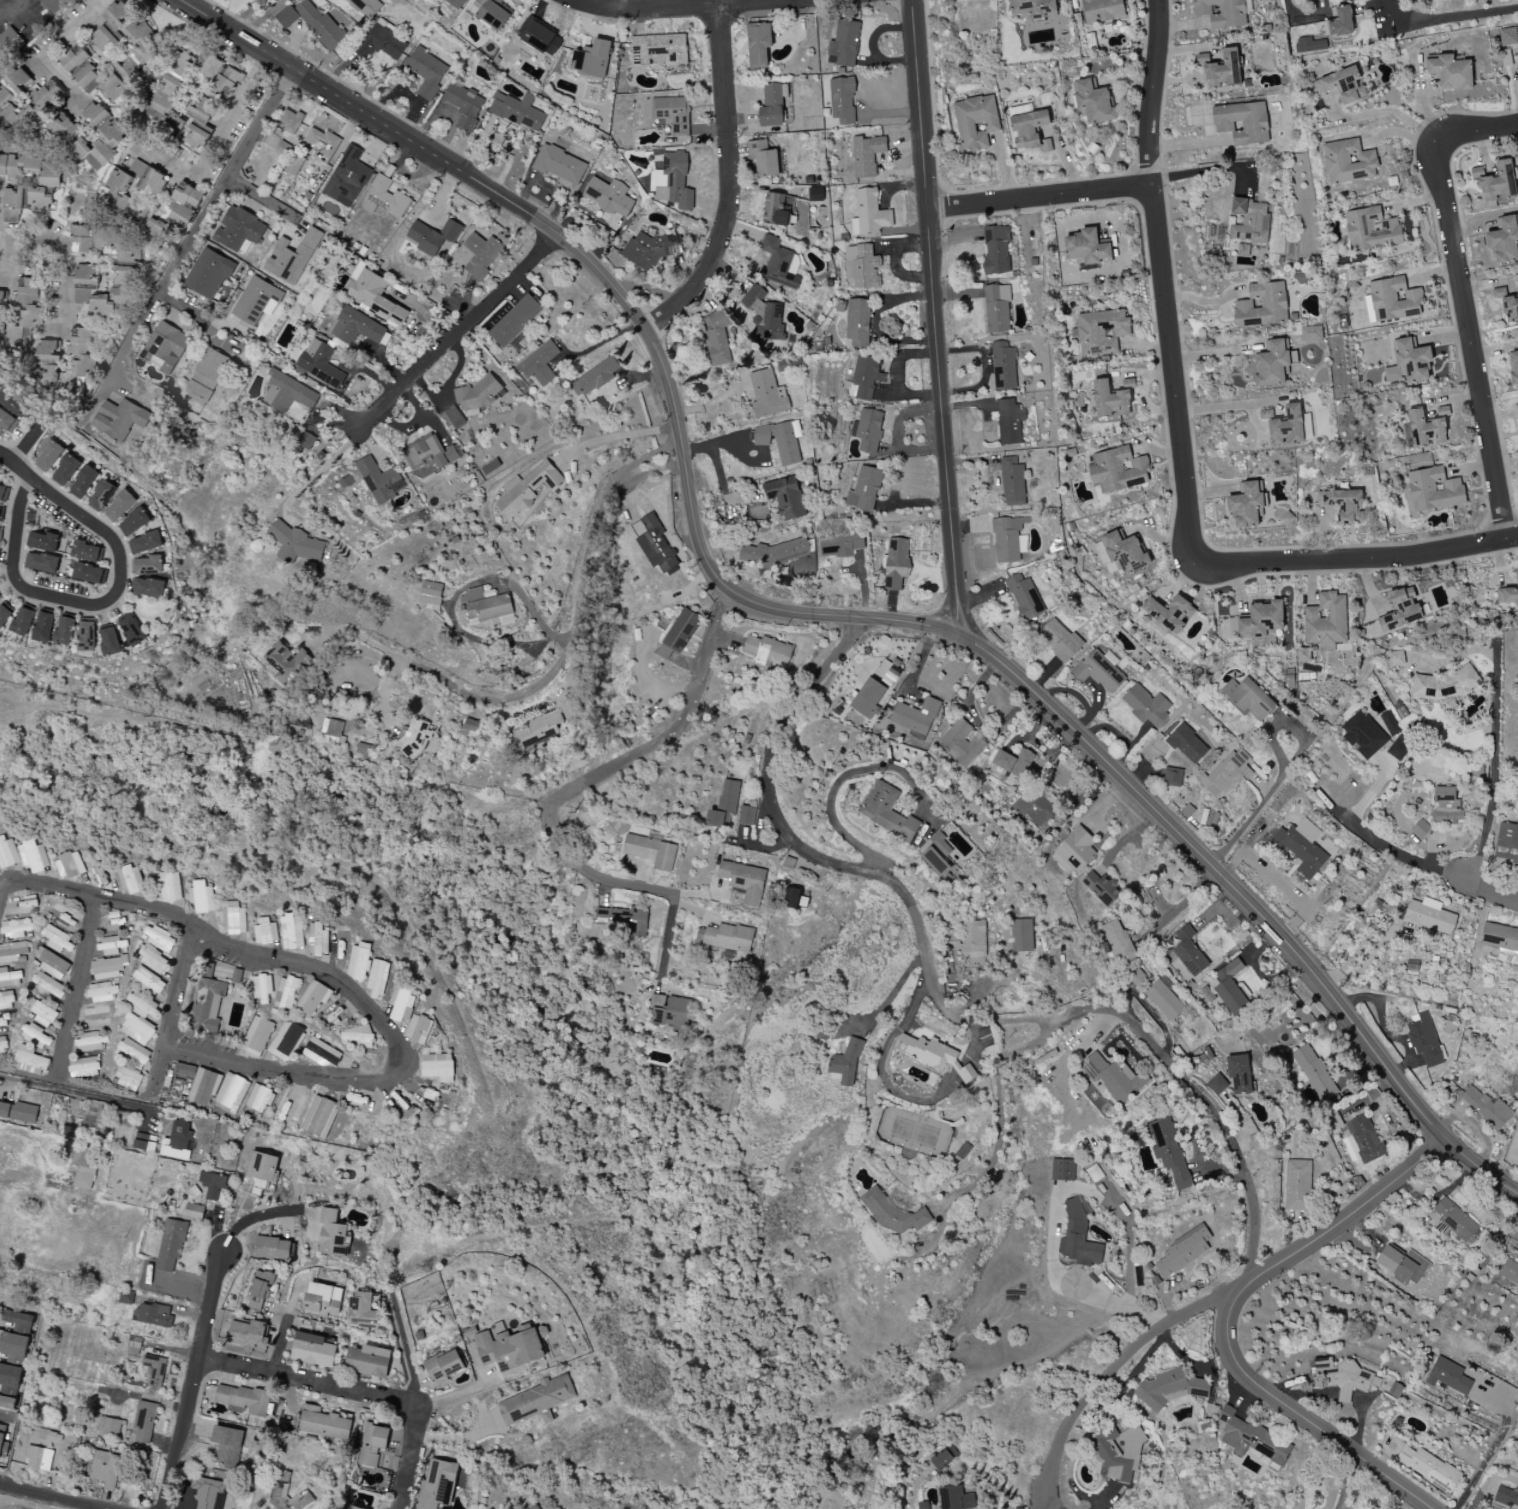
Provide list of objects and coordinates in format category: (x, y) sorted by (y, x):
building: (457, 3)
road: (11, 5)
building: (53, 5)
building: (366, 7)
road: (687, 7)
building: (1033, 8)
building: (1101, 10)
building: (492, 13)
building: (1221, 13)
building: (1341, 22)
road: (1449, 22)
building: (312, 23)
building: (112, 24)
building: (1507, 37)
building: (542, 39)
building: (8, 42)
building: (382, 42)
building: (843, 44)
building: (758, 45)
building: (1310, 45)
road: (47, 47)
building: (659, 49)
building: (1517, 50)
building: (73, 58)
building: (592, 59)
building: (182, 64)
building: (211, 68)
building: (1223, 70)
building: (426, 72)
building: (1450, 72)
building: (18, 81)
building: (227, 82)
building: (100, 83)
building: (1342, 86)
building: (170, 87)
road: (1150, 90)
building: (48, 95)
building: (842, 100)
building: (1093, 102)
building: (464, 105)
building: (772, 105)
building: (9, 107)
building: (161, 108)
building: (203, 111)
building: (516, 111)
road: (1397, 111)
building: (673, 114)
building: (290, 121)
building: (975, 122)
building: (1242, 123)
building: (176, 124)
building: (1030, 131)
building: (70, 136)
road: (218, 136)
building: (197, 137)
building: (322, 145)
building: (867, 155)
building: (763, 158)
building: (1348, 162)
building: (560, 165)
building: (28, 169)
road: (1209, 171)
building: (148, 178)
building: (347, 178)
road: (730, 180)
building: (673, 181)
building: (1498, 183)
building: (118, 192)
building: (815, 194)
building: (609, 196)
building: (384, 198)
building: (24, 201)
road: (263, 201)
building: (776, 210)
building: (174, 214)
building: (869, 214)
building: (1249, 220)
building: (238, 229)
building: (1371, 230)
building: (433, 235)
building: (85, 239)
building: (1504, 240)
road: (190, 241)
building: (1087, 248)
building: (651, 250)
building: (994, 254)
building: (481, 255)
building: (292, 257)
road: (54, 260)
building: (779, 263)
building: (861, 267)
building: (209, 274)
building: (86, 282)
building: (1517, 282)
building: (372, 294)
building: (1394, 300)
building: (3, 301)
building: (256, 301)
road: (1463, 302)
building: (1261, 305)
road: (182, 308)
building: (997, 309)
building: (1510, 309)
building: (764, 315)
road: (935, 319)
building: (515, 321)
building: (858, 323)
building: (356, 327)
building: (1100, 332)
building: (1311, 334)
road: (463, 336)
building: (716, 338)
road: (598, 345)
building: (166, 347)
building: (48, 353)
building: (82, 361)
building: (319, 363)
building: (1409, 363)
building: (1273, 364)
building: (538, 365)
building: (1003, 367)
building: (1514, 367)
building: (207, 375)
building: (595, 378)
building: (865, 378)
building: (287, 393)
building: (767, 394)
building: (476, 395)
building: (1111, 399)
building: (12, 401)
road: (1229, 407)
building: (454, 418)
building: (120, 419)
building: (7, 421)
building: (1517, 421)
building: (1009, 422)
road: (1179, 424)
building: (1287, 427)
building: (1426, 428)
building: (867, 431)
road: (615, 436)
building: (306, 440)
building: (779, 441)
building: (429, 454)
building: (48, 456)
road: (13, 464)
building: (65, 470)
building: (1118, 470)
road: (318, 471)
road: (719, 476)
building: (380, 480)
building: (83, 482)
building: (1012, 482)
building: (527, 489)
building: (864, 490)
building: (1434, 490)
building: (4, 492)
building: (101, 496)
building: (786, 498)
building: (1342, 505)
building: (119, 506)
building: (1247, 506)
building: (1, 513)
building: (133, 523)
building: (0, 533)
building: (1008, 540)
building: (43, 541)
building: (145, 543)
building: (296, 544)
building: (654, 544)
building: (840, 545)
building: (87, 552)
building: (773, 552)
building: (1121, 553)
building: (42, 563)
building: (896, 563)
building: (147, 566)
building: (89, 574)
building: (149, 587)
building: (431, 593)
building: (1507, 594)
building: (1024, 597)
building: (0, 599)
road: (95, 605)
building: (487, 607)
building: (1400, 610)
building: (4, 613)
road: (812, 615)
building: (1171, 615)
building: (1262, 620)
building: (1326, 620)
building: (21, 622)
building: (42, 627)
building: (64, 631)
building: (132, 631)
building: (679, 634)
building: (86, 636)
building: (1059, 639)
building: (109, 641)
building: (768, 651)
road: (1459, 654)
building: (1303, 655)
building: (1396, 658)
building: (287, 662)
road: (554, 668)
building: (1098, 671)
building: (887, 672)
building: (1443, 685)
building: (868, 698)
building: (1248, 698)
building: (1146, 705)
building: (915, 716)
building: (471, 726)
building: (332, 728)
road: (184, 730)
building: (538, 730)
building: (1363, 735)
building: (415, 738)
building: (962, 742)
building: (1397, 744)
building: (1187, 745)
building: (1015, 763)
road: (1493, 769)
road: (1284, 771)
building: (1225, 774)
building: (1172, 777)
road: (834, 789)
road: (569, 792)
building: (724, 805)
building: (1446, 806)
building: (1034, 808)
building: (888, 812)
building: (746, 815)
road: (783, 824)
building: (1420, 829)
building: (1507, 843)
building: (941, 844)
building: (1301, 847)
building: (1074, 851)
building: (651, 852)
building: (8, 853)
road: (1397, 854)
building: (34, 857)
building: (935, 862)
building: (69, 865)
building: (130, 880)
building: (744, 881)
building: (169, 886)
building: (1101, 888)
road: (6, 891)
road: (1485, 892)
building: (201, 897)
building: (796, 899)
road: (1186, 904)
building: (1429, 916)
building: (234, 918)
building: (625, 918)
building: (15, 928)
building: (265, 932)
building: (291, 932)
building: (1021, 935)
building: (1499, 937)
building: (159, 939)
building: (727, 939)
building: (968, 939)
building: (58, 940)
building: (317, 940)
building: (1117, 941)
building: (112, 946)
building: (1186, 950)
building: (13, 951)
building: (153, 960)
building: (358, 962)
building: (52, 964)
building: (108, 968)
building: (208, 970)
building: (9, 978)
building: (377, 978)
building: (149, 980)
road: (342, 983)
building: (48, 985)
building: (1230, 987)
road: (81, 989)
building: (262, 989)
building: (287, 991)
building: (101, 992)
road: (895, 992)
building: (312, 999)
building: (1164, 1000)
building: (6, 1001)
building: (401, 1004)
building: (141, 1005)
building: (208, 1005)
building: (671, 1013)
building: (44, 1014)
road: (174, 1014)
road: (1001, 1021)
building: (137, 1029)
building: (418, 1030)
building: (257, 1034)
building: (34, 1036)
building: (356, 1037)
building: (1424, 1040)
building: (285, 1041)
building: (90, 1042)
building: (3, 1047)
building: (133, 1053)
building: (320, 1053)
road: (882, 1056)
building: (936, 1056)
building: (30, 1061)
building: (846, 1063)
building: (83, 1067)
building: (438, 1067)
building: (1316, 1073)
building: (1239, 1074)
building: (1112, 1077)
building: (128, 1078)
building: (198, 1083)
road: (77, 1085)
building: (1216, 1085)
building: (231, 1092)
building: (259, 1099)
building: (1487, 1107)
building: (18, 1112)
road: (999, 1116)
building: (319, 1117)
road: (1217, 1118)
building: (1362, 1140)
building: (144, 1142)
road: (707, 1145)
building: (1168, 1151)
building: (84, 1166)
building: (1062, 1170)
building: (260, 1171)
building: (1297, 1185)
building: (213, 1186)
road: (1054, 1204)
building: (193, 1212)
building: (892, 1214)
road: (257, 1217)
building: (1454, 1220)
building: (331, 1234)
building: (1078, 1237)
building: (171, 1246)
building: (272, 1248)
building: (1183, 1251)
building: (1396, 1264)
building: (1509, 1272)
building: (260, 1291)
building: (126, 1298)
building: (322, 1299)
building: (362, 1309)
building: (151, 1314)
road: (1227, 1321)
building: (251, 1335)
building: (17, 1336)
building: (134, 1346)
building: (508, 1348)
road: (404, 1349)
building: (312, 1350)
building: (368, 1361)
building: (445, 1366)
building: (155, 1371)
road: (1108, 1372)
building: (1448, 1376)
building: (10, 1377)
building: (1343, 1378)
road: (193, 1380)
building: (1169, 1389)
road: (357, 1391)
road: (456, 1393)
building: (537, 1401)
building: (7, 1403)
road: (7, 1417)
building: (144, 1423)
building: (324, 1423)
building: (109, 1426)
building: (1251, 1437)
building: (3, 1442)
building: (372, 1444)
park: (688, 1444)
building: (227, 1447)
road: (1493, 1451)
building: (1118, 1452)
building: (39, 1459)
building: (941, 1459)
building: (1427, 1467)
building: (105, 1469)
road: (1347, 1481)
building: (437, 1485)
building: (208, 1493)
building: (279, 1493)
road: (54, 1496)
building: (1506, 1496)
building: (956, 1498)
building: (923, 1505)
building: (537, 1506)
building: (352, 1508)

